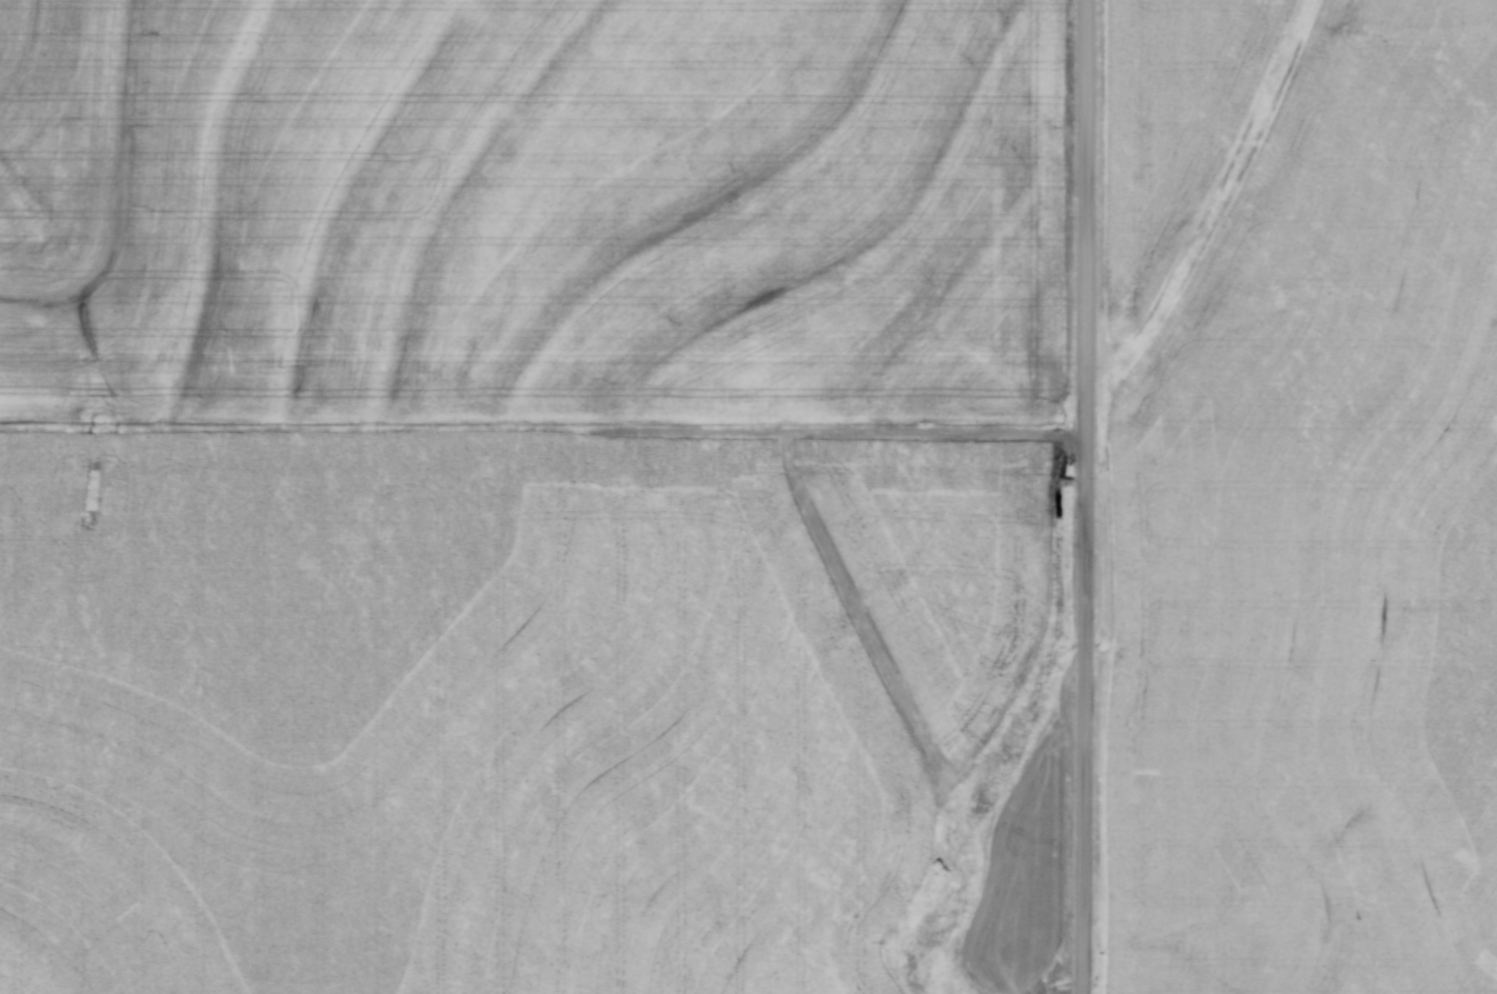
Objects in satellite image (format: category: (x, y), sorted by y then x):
road: (1090, 497)

